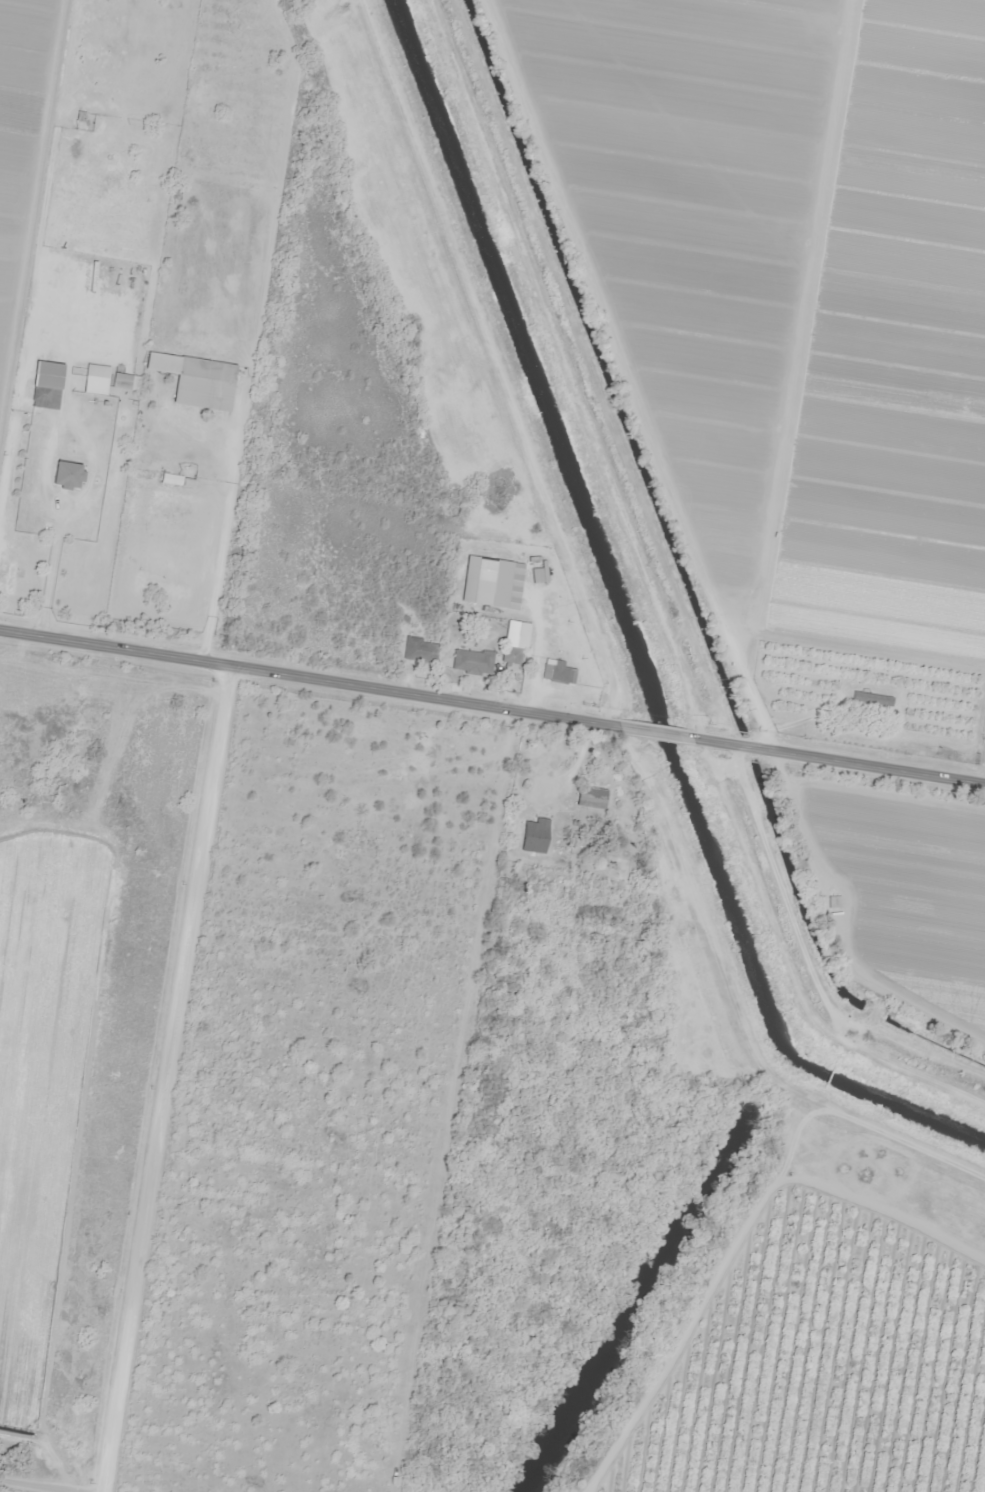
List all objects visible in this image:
building: (80, 121)
building: (48, 384)
building: (204, 392)
building: (68, 474)
building: (200, 566)
building: (7, 575)
building: (421, 650)
building: (511, 655)
building: (473, 661)
building: (559, 673)
road: (313, 677)
building: (870, 702)
road: (658, 729)
road: (837, 757)
building: (59, 767)
building: (593, 797)
building: (832, 901)
road: (147, 1076)

